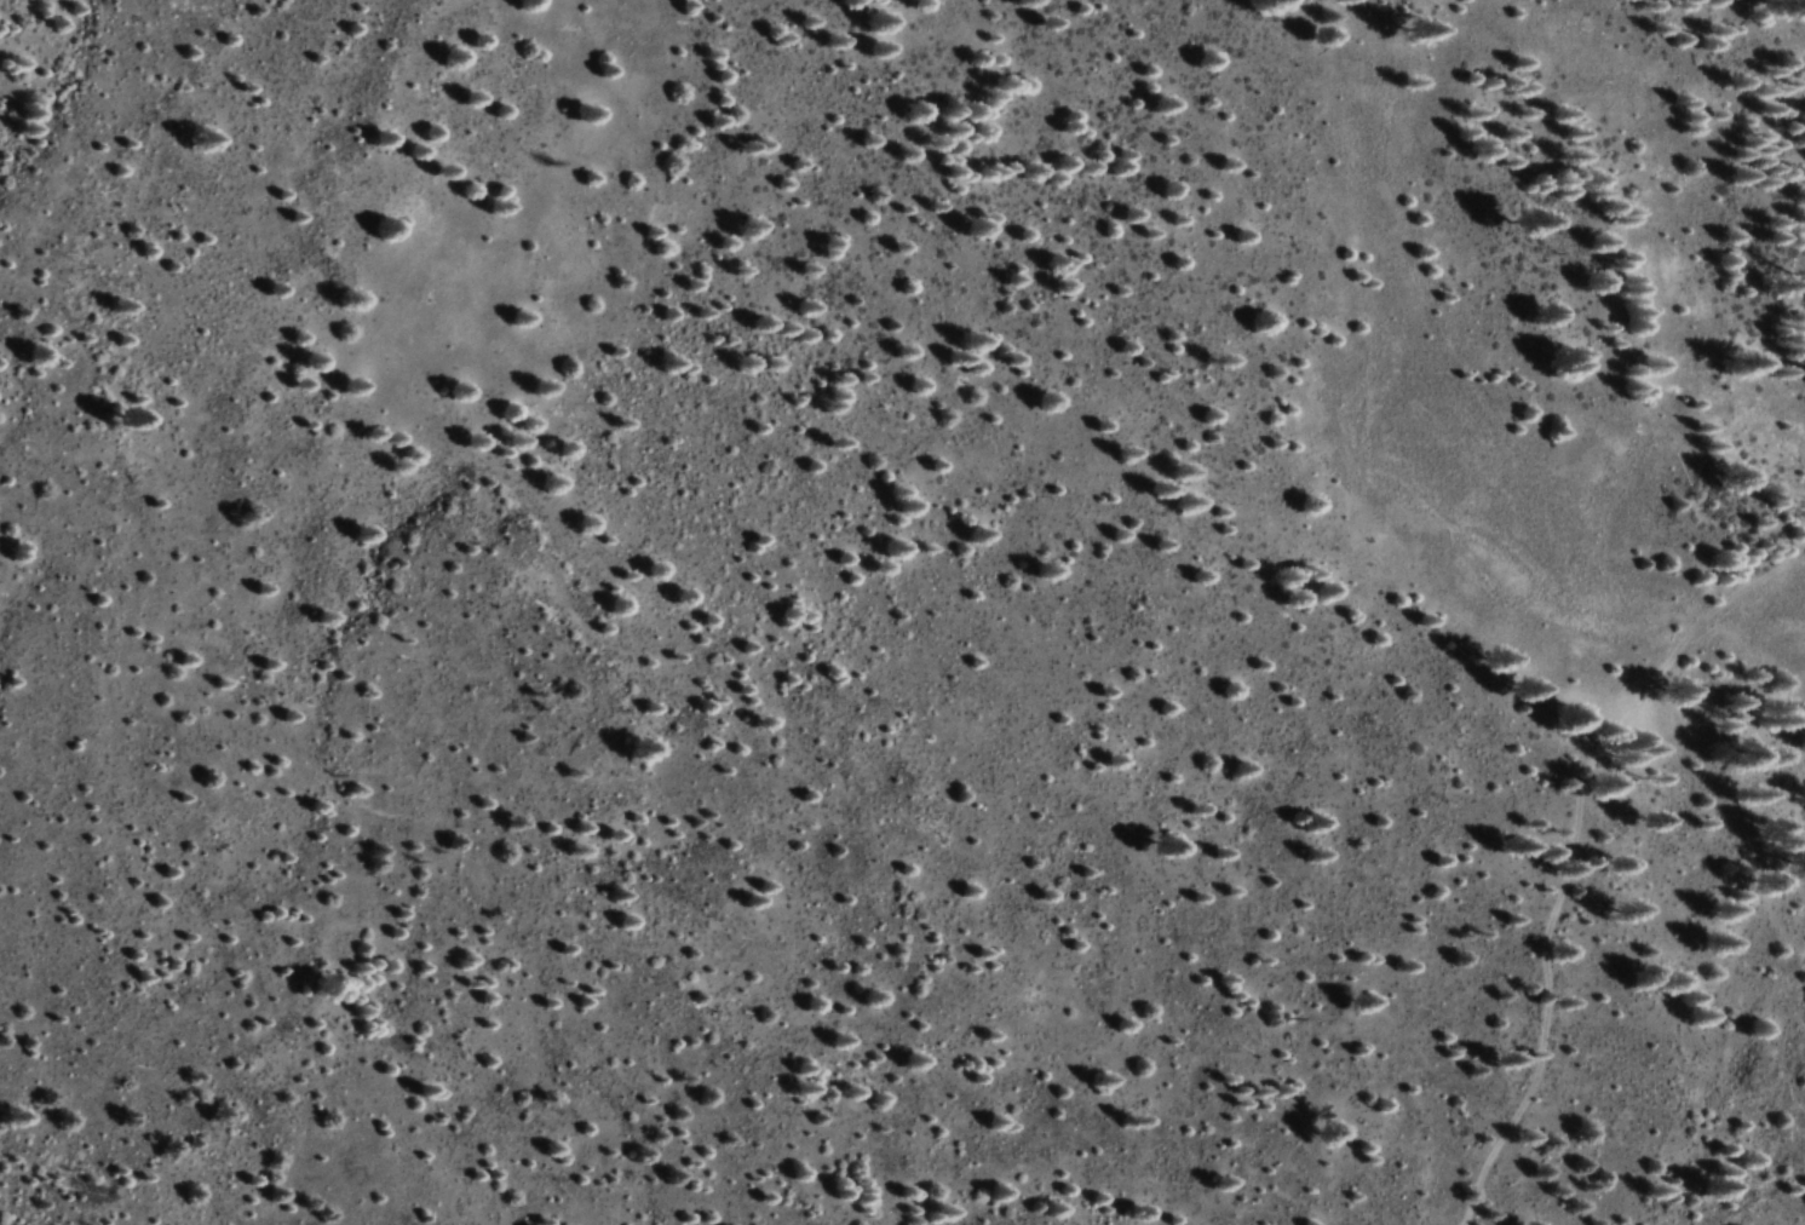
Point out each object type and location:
road: (1579, 853)

